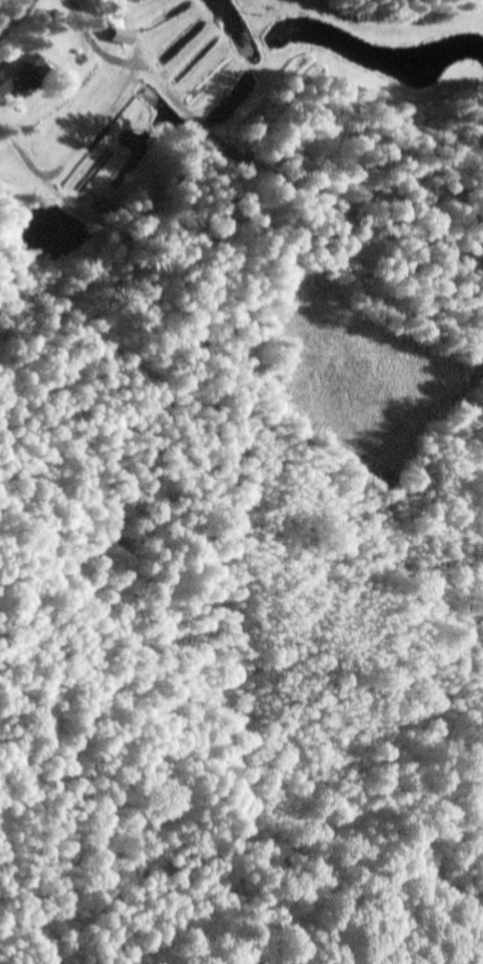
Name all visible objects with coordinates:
building: (125, 37)
building: (25, 73)

